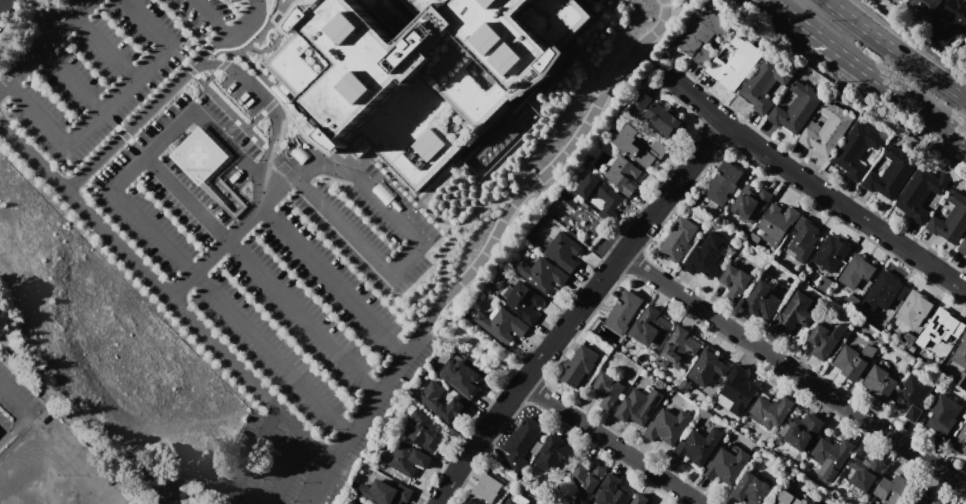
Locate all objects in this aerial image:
building: (900, 1)
building: (4, 4)
road: (780, 6)
road: (792, 6)
building: (924, 6)
road: (84, 9)
road: (211, 18)
parking lot: (223, 18)
building: (950, 21)
road: (144, 22)
road: (249, 22)
building: (703, 36)
building: (965, 37)
road: (892, 47)
road: (104, 48)
road: (207, 49)
road: (40, 51)
building: (736, 63)
parking lot: (91, 72)
building: (419, 72)
road: (239, 73)
road: (876, 78)
road: (70, 81)
building: (764, 83)
road: (3, 87)
parking lot: (246, 89)
road: (117, 94)
road: (962, 94)
road: (962, 95)
building: (796, 108)
road: (37, 113)
building: (657, 115)
road: (4, 125)
road: (128, 129)
building: (826, 130)
road: (4, 131)
road: (225, 143)
building: (638, 146)
road: (152, 150)
building: (856, 150)
helipad: (202, 154)
road: (265, 159)
road: (325, 167)
road: (552, 167)
building: (891, 173)
building: (623, 174)
road: (808, 182)
building: (723, 183)
building: (600, 191)
building: (920, 193)
building: (594, 200)
building: (751, 202)
building: (951, 219)
building: (775, 224)
road: (231, 237)
building: (803, 239)
building: (679, 240)
building: (962, 246)
building: (563, 251)
road: (622, 253)
building: (830, 253)
building: (705, 256)
parking lot: (281, 258)
road: (138, 267)
building: (856, 271)
road: (389, 274)
building: (542, 274)
road: (261, 275)
road: (333, 282)
building: (735, 282)
building: (883, 291)
building: (762, 300)
building: (523, 301)
building: (913, 309)
building: (624, 311)
road: (231, 312)
building: (794, 314)
building: (501, 324)
building: (650, 326)
building: (940, 330)
building: (825, 340)
building: (678, 347)
building: (959, 350)
building: (853, 361)
building: (579, 365)
building: (707, 367)
road: (793, 373)
building: (461, 377)
building: (879, 383)
building: (608, 389)
building: (738, 389)
building: (913, 397)
building: (444, 404)
road: (27, 409)
building: (635, 409)
building: (771, 412)
road: (364, 413)
building: (943, 414)
building: (668, 426)
building: (427, 431)
building: (801, 431)
road: (300, 432)
road: (2, 438)
building: (962, 439)
road: (2, 442)
road: (476, 442)
building: (520, 442)
road: (610, 443)
building: (699, 446)
road: (23, 450)
building: (553, 453)
road: (250, 455)
building: (831, 457)
building: (407, 458)
parking lot: (281, 463)
building: (726, 465)
road: (287, 470)
building: (865, 472)
building: (585, 477)
building: (751, 489)
building: (893, 489)
building: (484, 491)
building: (612, 491)
building: (384, 493)
building: (788, 498)
building: (640, 499)
building: (516, 500)
building: (930, 501)
building: (365, 503)
building: (501, 503)
building: (814, 503)

